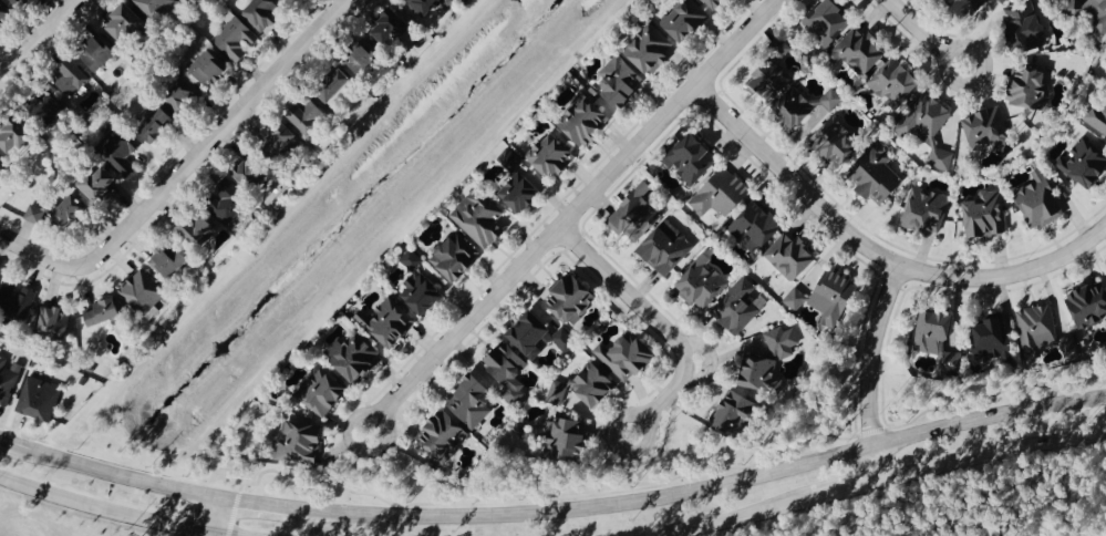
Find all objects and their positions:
building: (1003, 1)
building: (19, 2)
building: (714, 2)
building: (969, 6)
building: (425, 7)
building: (153, 8)
building: (261, 13)
building: (1091, 13)
building: (3, 14)
building: (685, 19)
building: (828, 20)
building: (124, 22)
building: (391, 25)
building: (1025, 25)
road: (924, 37)
building: (236, 38)
road: (39, 40)
building: (650, 48)
building: (783, 49)
building: (860, 50)
building: (96, 54)
building: (361, 56)
building: (208, 66)
building: (71, 79)
building: (620, 79)
building: (772, 79)
building: (896, 81)
building: (334, 84)
building: (1027, 85)
building: (182, 94)
building: (831, 99)
building: (46, 106)
building: (795, 106)
building: (307, 112)
building: (1096, 116)
building: (583, 117)
building: (155, 124)
building: (930, 126)
building: (989, 128)
building: (14, 132)
building: (280, 137)
road: (211, 138)
building: (836, 138)
building: (120, 150)
building: (550, 154)
building: (692, 157)
building: (509, 158)
building: (1084, 163)
building: (1, 167)
building: (251, 169)
building: (876, 173)
building: (97, 181)
building: (520, 192)
building: (722, 193)
building: (229, 200)
building: (1038, 200)
building: (70, 209)
building: (926, 209)
building: (34, 214)
building: (635, 214)
building: (985, 214)
building: (479, 217)
road: (573, 217)
building: (756, 225)
building: (198, 229)
building: (665, 247)
building: (792, 255)
road: (877, 255)
road: (35, 256)
building: (455, 256)
building: (169, 259)
building: (701, 282)
building: (420, 285)
building: (142, 291)
building: (834, 296)
building: (571, 298)
building: (796, 298)
building: (15, 299)
building: (1088, 303)
building: (738, 306)
building: (102, 311)
building: (53, 320)
building: (387, 322)
road: (661, 328)
building: (1043, 332)
building: (538, 334)
building: (992, 337)
building: (938, 338)
building: (783, 341)
building: (353, 354)
building: (627, 354)
building: (508, 369)
building: (755, 370)
road: (870, 373)
building: (8, 379)
building: (581, 386)
building: (322, 392)
building: (39, 399)
building: (472, 401)
building: (735, 410)
building: (443, 435)
building: (567, 437)
road: (1, 441)
building: (300, 442)
road: (993, 456)
road: (111, 475)
road: (847, 489)
road: (701, 491)
road: (255, 504)
park: (993, 512)
road: (101, 513)
road: (218, 518)
road: (731, 518)

